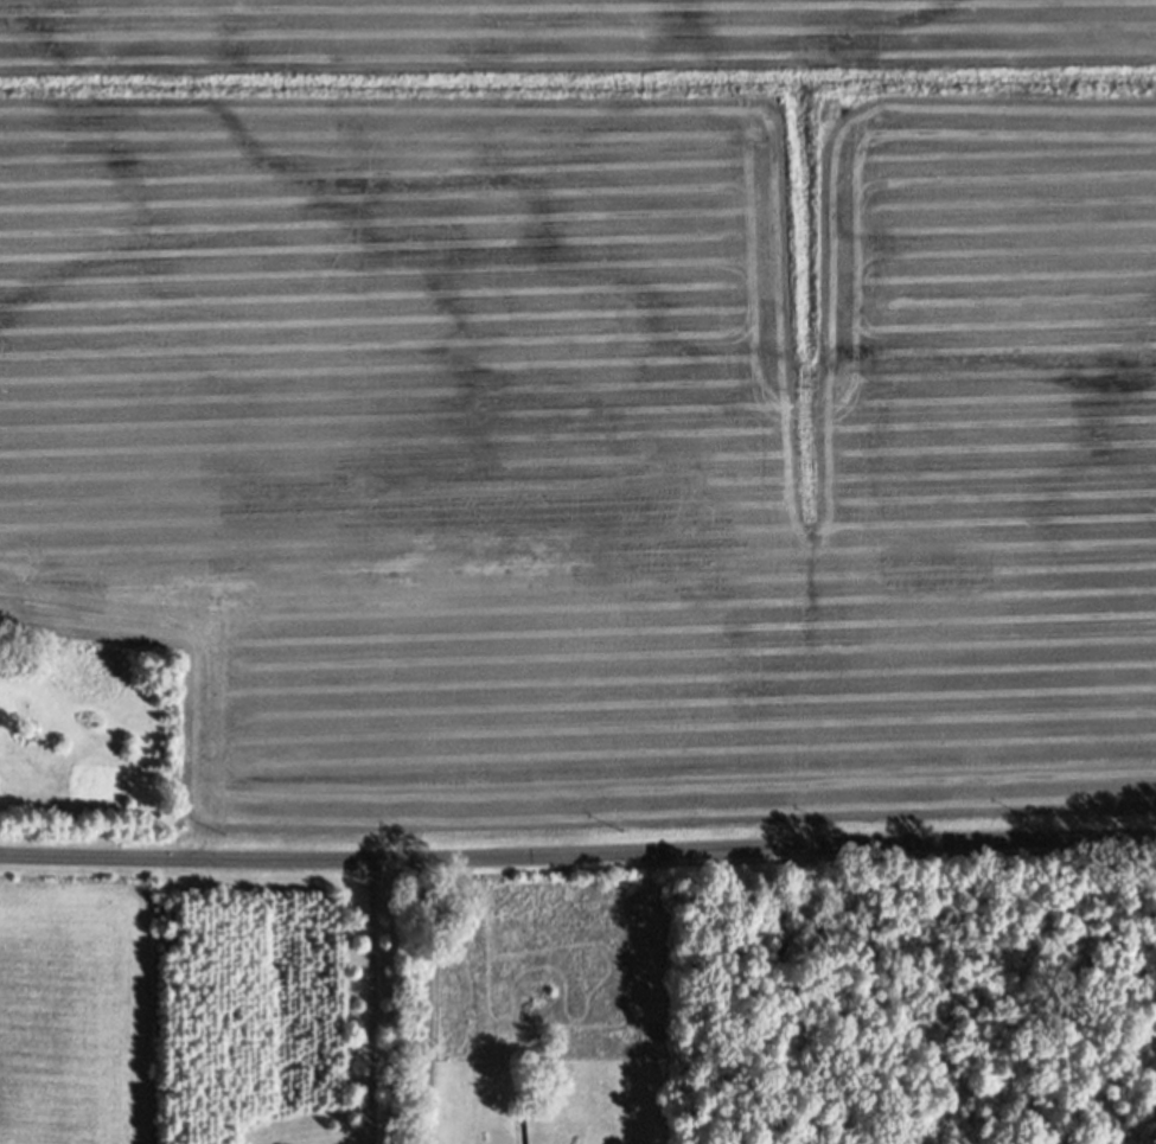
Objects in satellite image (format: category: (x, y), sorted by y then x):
road: (577, 855)
road: (429, 1002)
road: (366, 1005)

